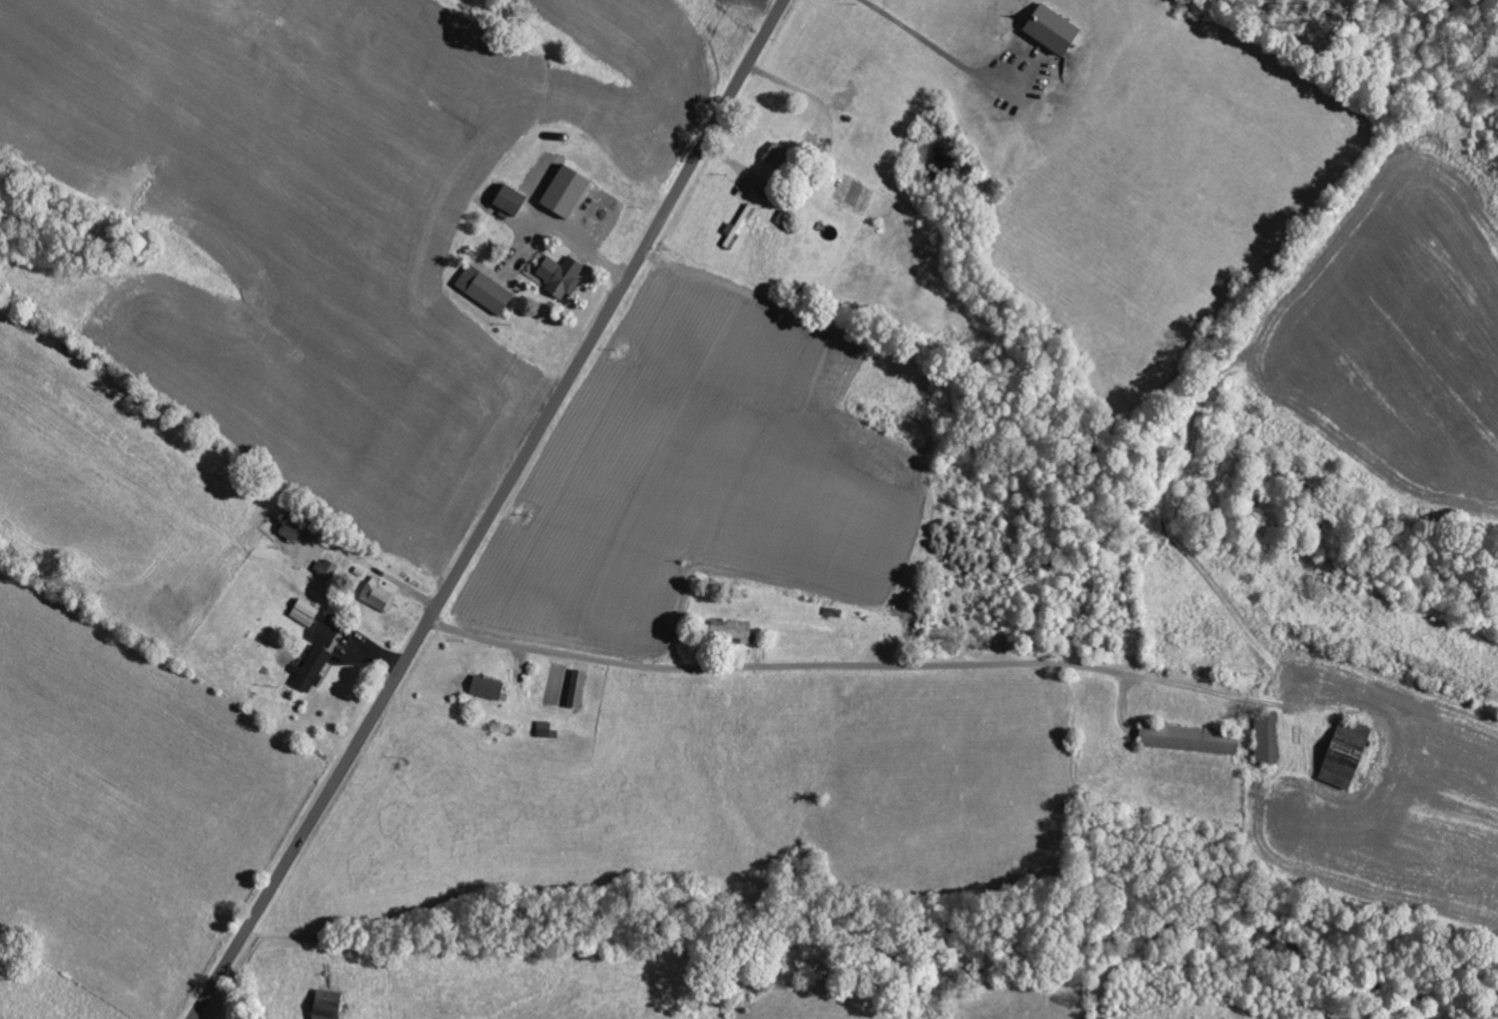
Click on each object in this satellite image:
building: (1057, 29)
building: (782, 156)
building: (570, 190)
building: (515, 200)
building: (561, 275)
building: (486, 289)
road: (494, 511)
building: (323, 566)
building: (377, 594)
building: (306, 609)
building: (736, 629)
building: (318, 658)
road: (759, 665)
building: (490, 688)
building: (579, 688)
building: (1268, 736)
building: (1193, 739)
building: (1349, 753)
building: (330, 1004)

